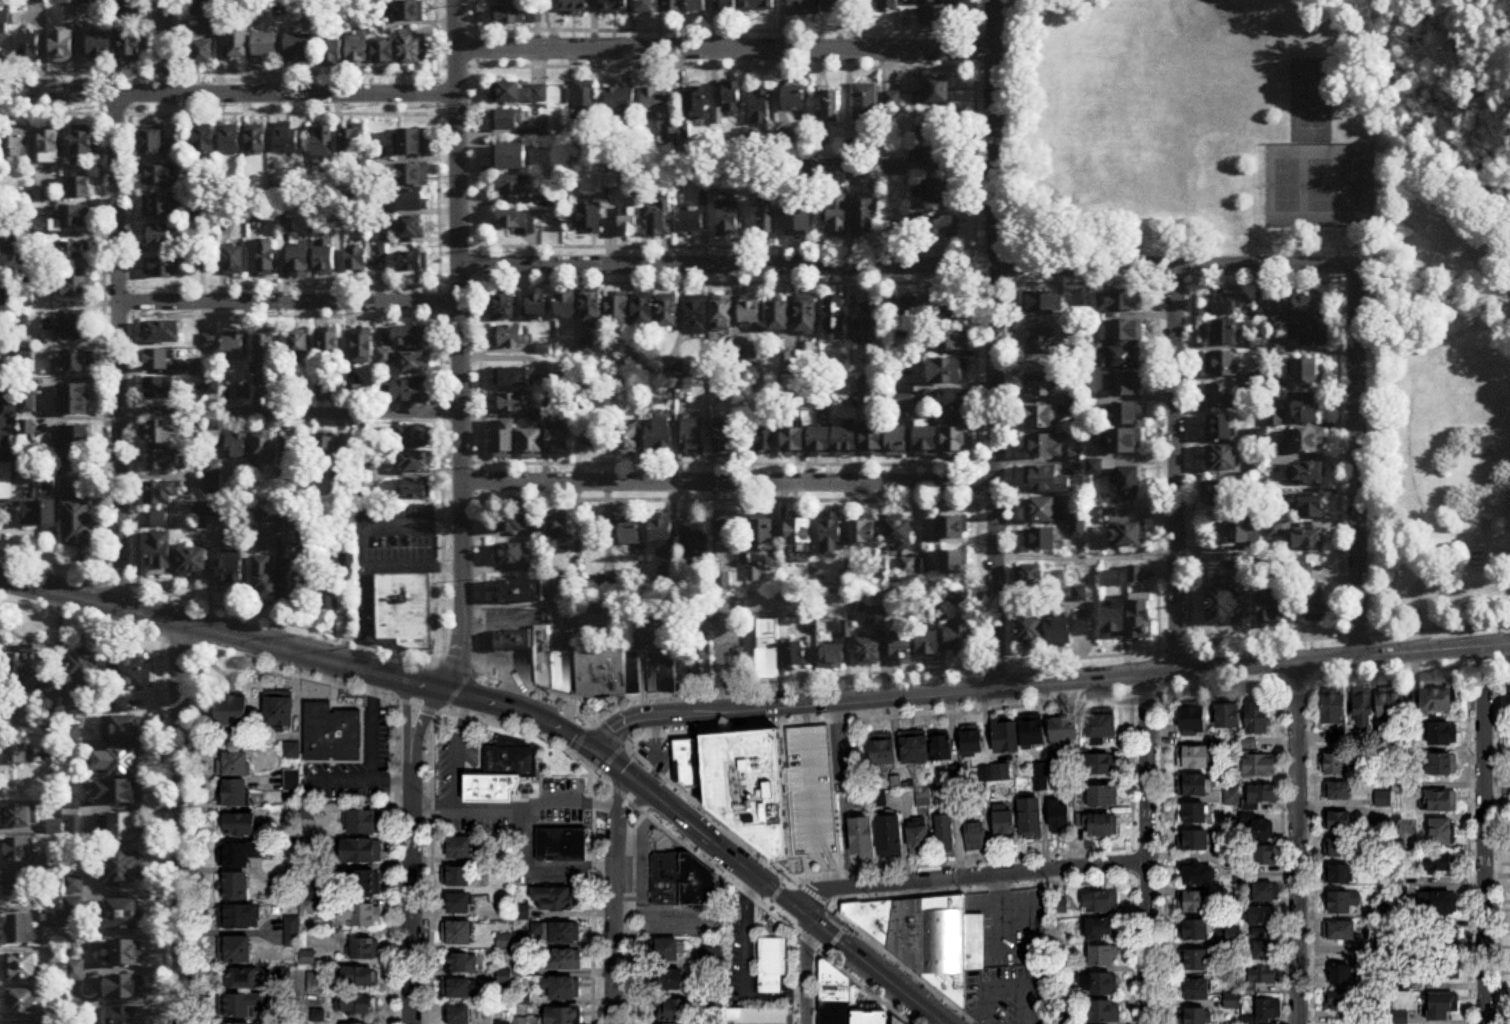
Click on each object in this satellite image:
building: (511, 1)
building: (938, 1)
building: (34, 2)
road: (1041, 4)
building: (672, 5)
building: (696, 5)
building: (724, 5)
building: (757, 5)
building: (889, 5)
road: (1012, 5)
building: (129, 6)
building: (573, 6)
building: (613, 6)
building: (645, 6)
building: (801, 6)
building: (833, 6)
building: (410, 11)
building: (202, 14)
building: (515, 15)
building: (938, 17)
road: (1051, 17)
park: (1213, 19)
road: (747, 30)
building: (237, 43)
building: (5, 46)
building: (101, 46)
building: (129, 46)
building: (30, 47)
building: (64, 47)
road: (161, 47)
building: (266, 48)
building: (301, 50)
building: (412, 50)
road: (724, 50)
building: (358, 52)
building: (203, 53)
building: (332, 53)
building: (384, 55)
road: (723, 66)
building: (939, 90)
road: (227, 93)
building: (518, 94)
building: (731, 97)
building: (793, 100)
building: (618, 102)
building: (654, 102)
park: (1309, 102)
building: (583, 103)
building: (864, 103)
building: (695, 106)
building: (759, 106)
building: (831, 107)
road: (281, 113)
building: (715, 114)
building: (506, 121)
building: (938, 125)
building: (667, 132)
building: (257, 141)
building: (288, 141)
building: (205, 142)
building: (231, 142)
building: (15, 143)
building: (152, 143)
building: (323, 143)
building: (410, 143)
building: (353, 144)
building: (49, 147)
building: (84, 148)
building: (511, 157)
building: (932, 158)
building: (893, 168)
building: (855, 169)
building: (160, 176)
building: (408, 176)
building: (607, 178)
park: (1285, 187)
park: (1318, 187)
park: (1352, 187)
building: (81, 188)
building: (515, 189)
building: (940, 191)
building: (701, 198)
building: (412, 201)
building: (162, 207)
building: (797, 213)
building: (838, 213)
building: (72, 218)
building: (866, 218)
building: (660, 219)
building: (765, 219)
building: (517, 221)
building: (587, 221)
building: (691, 221)
building: (728, 221)
park: (1309, 223)
building: (627, 224)
building: (936, 227)
building: (411, 229)
building: (162, 236)
road: (743, 246)
road: (1355, 247)
building: (2, 251)
building: (70, 251)
building: (325, 258)
building: (266, 259)
building: (234, 261)
building: (299, 261)
building: (357, 261)
building: (412, 262)
road: (904, 266)
building: (165, 267)
road: (886, 282)
road: (283, 287)
building: (73, 289)
road: (286, 301)
building: (1119, 302)
building: (1043, 303)
building: (1224, 305)
building: (536, 306)
building: (567, 306)
building: (1305, 307)
building: (503, 308)
building: (902, 308)
building: (591, 309)
building: (949, 309)
building: (751, 310)
building: (618, 311)
building: (644, 311)
building: (669, 314)
building: (722, 315)
building: (834, 315)
road: (284, 316)
building: (697, 316)
building: (779, 316)
building: (807, 316)
building: (871, 324)
building: (66, 328)
road: (438, 331)
road: (1011, 331)
building: (1122, 331)
building: (162, 332)
building: (1226, 333)
building: (1311, 335)
road: (477, 336)
building: (411, 337)
building: (509, 337)
building: (950, 340)
road: (993, 342)
building: (1043, 343)
building: (329, 345)
road: (458, 345)
building: (299, 346)
building: (233, 347)
road: (131, 348)
building: (363, 348)
building: (1277, 348)
road: (116, 352)
road: (975, 353)
building: (266, 354)
building: (385, 358)
building: (1124, 359)
building: (157, 360)
building: (77, 362)
building: (415, 364)
building: (1222, 364)
building: (948, 372)
building: (1307, 373)
building: (514, 377)
building: (1123, 385)
building: (1041, 386)
building: (159, 389)
building: (410, 392)
building: (323, 394)
building: (353, 394)
building: (1223, 395)
building: (74, 401)
building: (952, 401)
building: (8, 402)
building: (511, 404)
building: (904, 404)
building: (1076, 405)
building: (1307, 408)
road: (288, 412)
building: (1124, 414)
building: (1041, 418)
building: (1274, 419)
building: (1219, 428)
building: (158, 433)
building: (592, 435)
road: (1, 437)
building: (414, 437)
building: (662, 437)
building: (695, 438)
building: (764, 439)
building: (505, 440)
building: (957, 440)
road: (1374, 440)
building: (211, 441)
building: (560, 441)
building: (629, 441)
building: (728, 441)
building: (1122, 441)
building: (74, 442)
building: (873, 442)
building: (899, 442)
building: (927, 442)
building: (1306, 442)
road: (1338, 442)
building: (795, 443)
building: (821, 443)
building: (846, 443)
building: (533, 444)
building: (358, 445)
building: (236, 446)
building: (1045, 446)
building: (264, 447)
building: (325, 448)
building: (294, 451)
building: (1224, 458)
building: (159, 461)
road: (1356, 462)
building: (415, 463)
road: (708, 463)
road: (1193, 466)
road: (1175, 468)
building: (212, 469)
building: (1304, 474)
road: (727, 482)
building: (1049, 482)
building: (1130, 482)
building: (212, 487)
building: (413, 489)
building: (1223, 490)
building: (162, 494)
road: (746, 499)
building: (1309, 505)
building: (41, 507)
building: (207, 510)
building: (1040, 511)
building: (75, 512)
building: (510, 522)
building: (559, 526)
building: (1077, 528)
building: (952, 529)
building: (1246, 530)
building: (799, 531)
building: (661, 532)
building: (631, 533)
building: (729, 533)
building: (762, 534)
building: (863, 534)
building: (900, 534)
building: (1128, 535)
building: (832, 538)
building: (692, 539)
building: (1310, 539)
building: (1041, 540)
road: (360, 546)
building: (161, 553)
building: (511, 554)
road: (1156, 560)
building: (192, 562)
building: (953, 563)
building: (232, 572)
building: (1136, 575)
building: (1033, 578)
building: (266, 579)
building: (1110, 580)
building: (296, 581)
building: (524, 591)
building: (954, 600)
building: (329, 601)
building: (1316, 603)
building: (1222, 605)
building: (832, 607)
building: (403, 608)
building: (1273, 609)
road: (566, 614)
road: (162, 615)
building: (1142, 616)
road: (360, 617)
building: (1116, 622)
road: (187, 625)
road: (496, 625)
building: (1032, 632)
building: (1061, 632)
building: (512, 639)
building: (963, 641)
building: (931, 647)
building: (768, 651)
building: (870, 653)
building: (541, 654)
building: (904, 655)
building: (796, 656)
building: (835, 658)
road: (1310, 659)
road: (508, 664)
building: (561, 669)
building: (701, 669)
building: (29, 670)
building: (85, 671)
building: (632, 672)
building: (601, 673)
building: (130, 674)
building: (653, 675)
building: (668, 675)
road: (1046, 680)
road: (746, 683)
road: (456, 688)
building: (1437, 698)
building: (71, 705)
road: (505, 705)
building: (1392, 705)
road: (439, 708)
building: (1334, 709)
building: (232, 711)
building: (279, 711)
building: (1364, 712)
road: (406, 713)
building: (1228, 715)
road: (423, 717)
building: (1257, 717)
building: (1193, 718)
road: (587, 723)
road: (598, 724)
building: (1103, 726)
road: (693, 729)
building: (1065, 729)
building: (123, 731)
building: (333, 732)
road: (839, 733)
building: (1035, 733)
building: (1444, 733)
road: (490, 734)
building: (1007, 737)
building: (973, 743)
road: (458, 748)
traffic signals: (598, 748)
building: (942, 748)
building: (916, 750)
road: (655, 751)
building: (885, 752)
road: (372, 754)
building: (16, 755)
road: (609, 756)
building: (509, 757)
building: (1197, 757)
building: (685, 760)
road: (479, 762)
building: (1260, 763)
building: (1444, 763)
building: (120, 764)
building: (235, 764)
building: (1100, 764)
building: (1334, 764)
road: (700, 767)
building: (996, 772)
road: (391, 776)
road: (539, 778)
road: (528, 779)
road: (637, 781)
building: (748, 784)
road: (1131, 784)
building: (1195, 784)
building: (1338, 789)
building: (119, 793)
building: (235, 793)
building: (1263, 793)
building: (1103, 796)
road: (617, 797)
building: (1441, 801)
road: (629, 804)
road: (518, 805)
building: (1193, 813)
building: (21, 817)
building: (1061, 817)
building: (1032, 818)
building: (364, 820)
building: (1339, 820)
road: (179, 823)
building: (1005, 823)
building: (1099, 824)
building: (240, 825)
building: (122, 829)
building: (1262, 830)
building: (1442, 831)
building: (945, 832)
road: (1485, 834)
road: (706, 835)
building: (891, 836)
building: (975, 836)
building: (863, 838)
road: (1146, 838)
building: (920, 839)
building: (1194, 840)
road: (1296, 842)
building: (562, 844)
building: (1342, 847)
building: (461, 848)
road: (1146, 848)
building: (362, 850)
building: (21, 851)
building: (238, 854)
building: (1267, 857)
building: (1440, 862)
road: (541, 863)
road: (430, 865)
building: (125, 869)
road: (966, 873)
building: (1198, 874)
building: (1341, 874)
building: (458, 876)
building: (666, 877)
building: (697, 881)
building: (364, 883)
building: (19, 885)
building: (236, 886)
road: (410, 887)
road: (977, 887)
building: (1266, 892)
road: (814, 894)
road: (592, 897)
building: (557, 898)
building: (1343, 901)
building: (1101, 902)
building: (1194, 902)
building: (1439, 902)
building: (459, 903)
building: (361, 914)
road: (633, 915)
building: (120, 916)
building: (871, 916)
building: (1264, 916)
building: (238, 917)
road: (614, 925)
road: (754, 927)
road: (827, 929)
building: (1100, 929)
building: (23, 930)
building: (1197, 930)
building: (1340, 930)
building: (555, 932)
building: (457, 933)
building: (1445, 938)
building: (939, 940)
building: (365, 948)
building: (234, 949)
building: (664, 949)
road: (852, 950)
building: (1266, 950)
building: (127, 954)
building: (1104, 956)
building: (563, 959)
building: (1195, 959)
building: (770, 961)
building: (461, 963)
road: (746, 963)
building: (22, 967)
building: (1443, 969)
road: (807, 971)
building: (1342, 974)
building: (1264, 975)
building: (358, 976)
road: (794, 976)
building: (242, 978)
building: (670, 979)
building: (1101, 983)
building: (122, 988)
building: (457, 988)
building: (562, 988)
building: (1195, 989)
building: (834, 994)
building: (1339, 1000)
building: (26, 1001)
building: (241, 1004)
building: (355, 1004)
building: (1269, 1008)
building: (675, 1010)
building: (1442, 1010)
building: (1102, 1012)
road: (294, 1014)
building: (458, 1015)
building: (562, 1015)
building: (754, 1015)
building: (126, 1016)
building: (1195, 1016)
building: (869, 1017)
building: (896, 1019)
building: (236, 1023)
building: (361, 1023)
building: (520, 1023)
building: (672, 1023)

